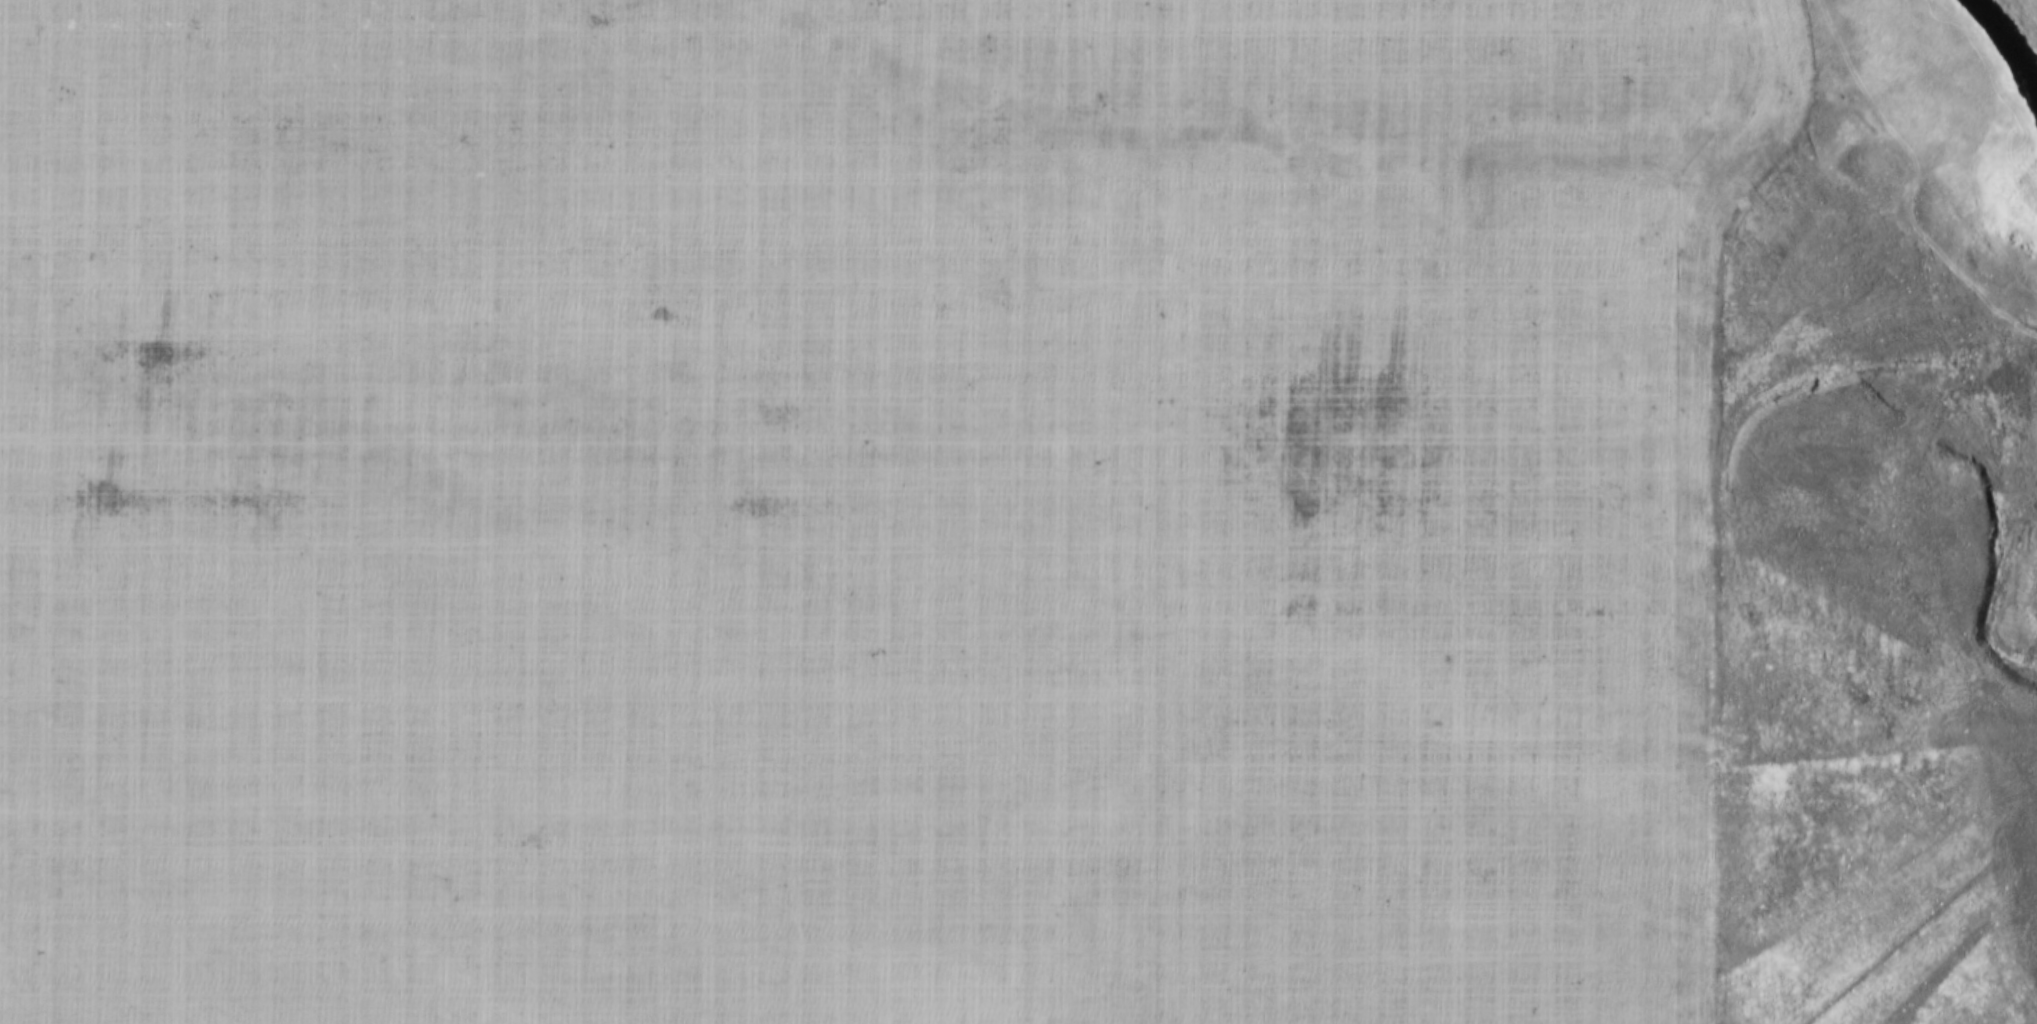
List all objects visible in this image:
road: (1186, 512)
quarry: (1866, 615)
road: (1611, 745)

